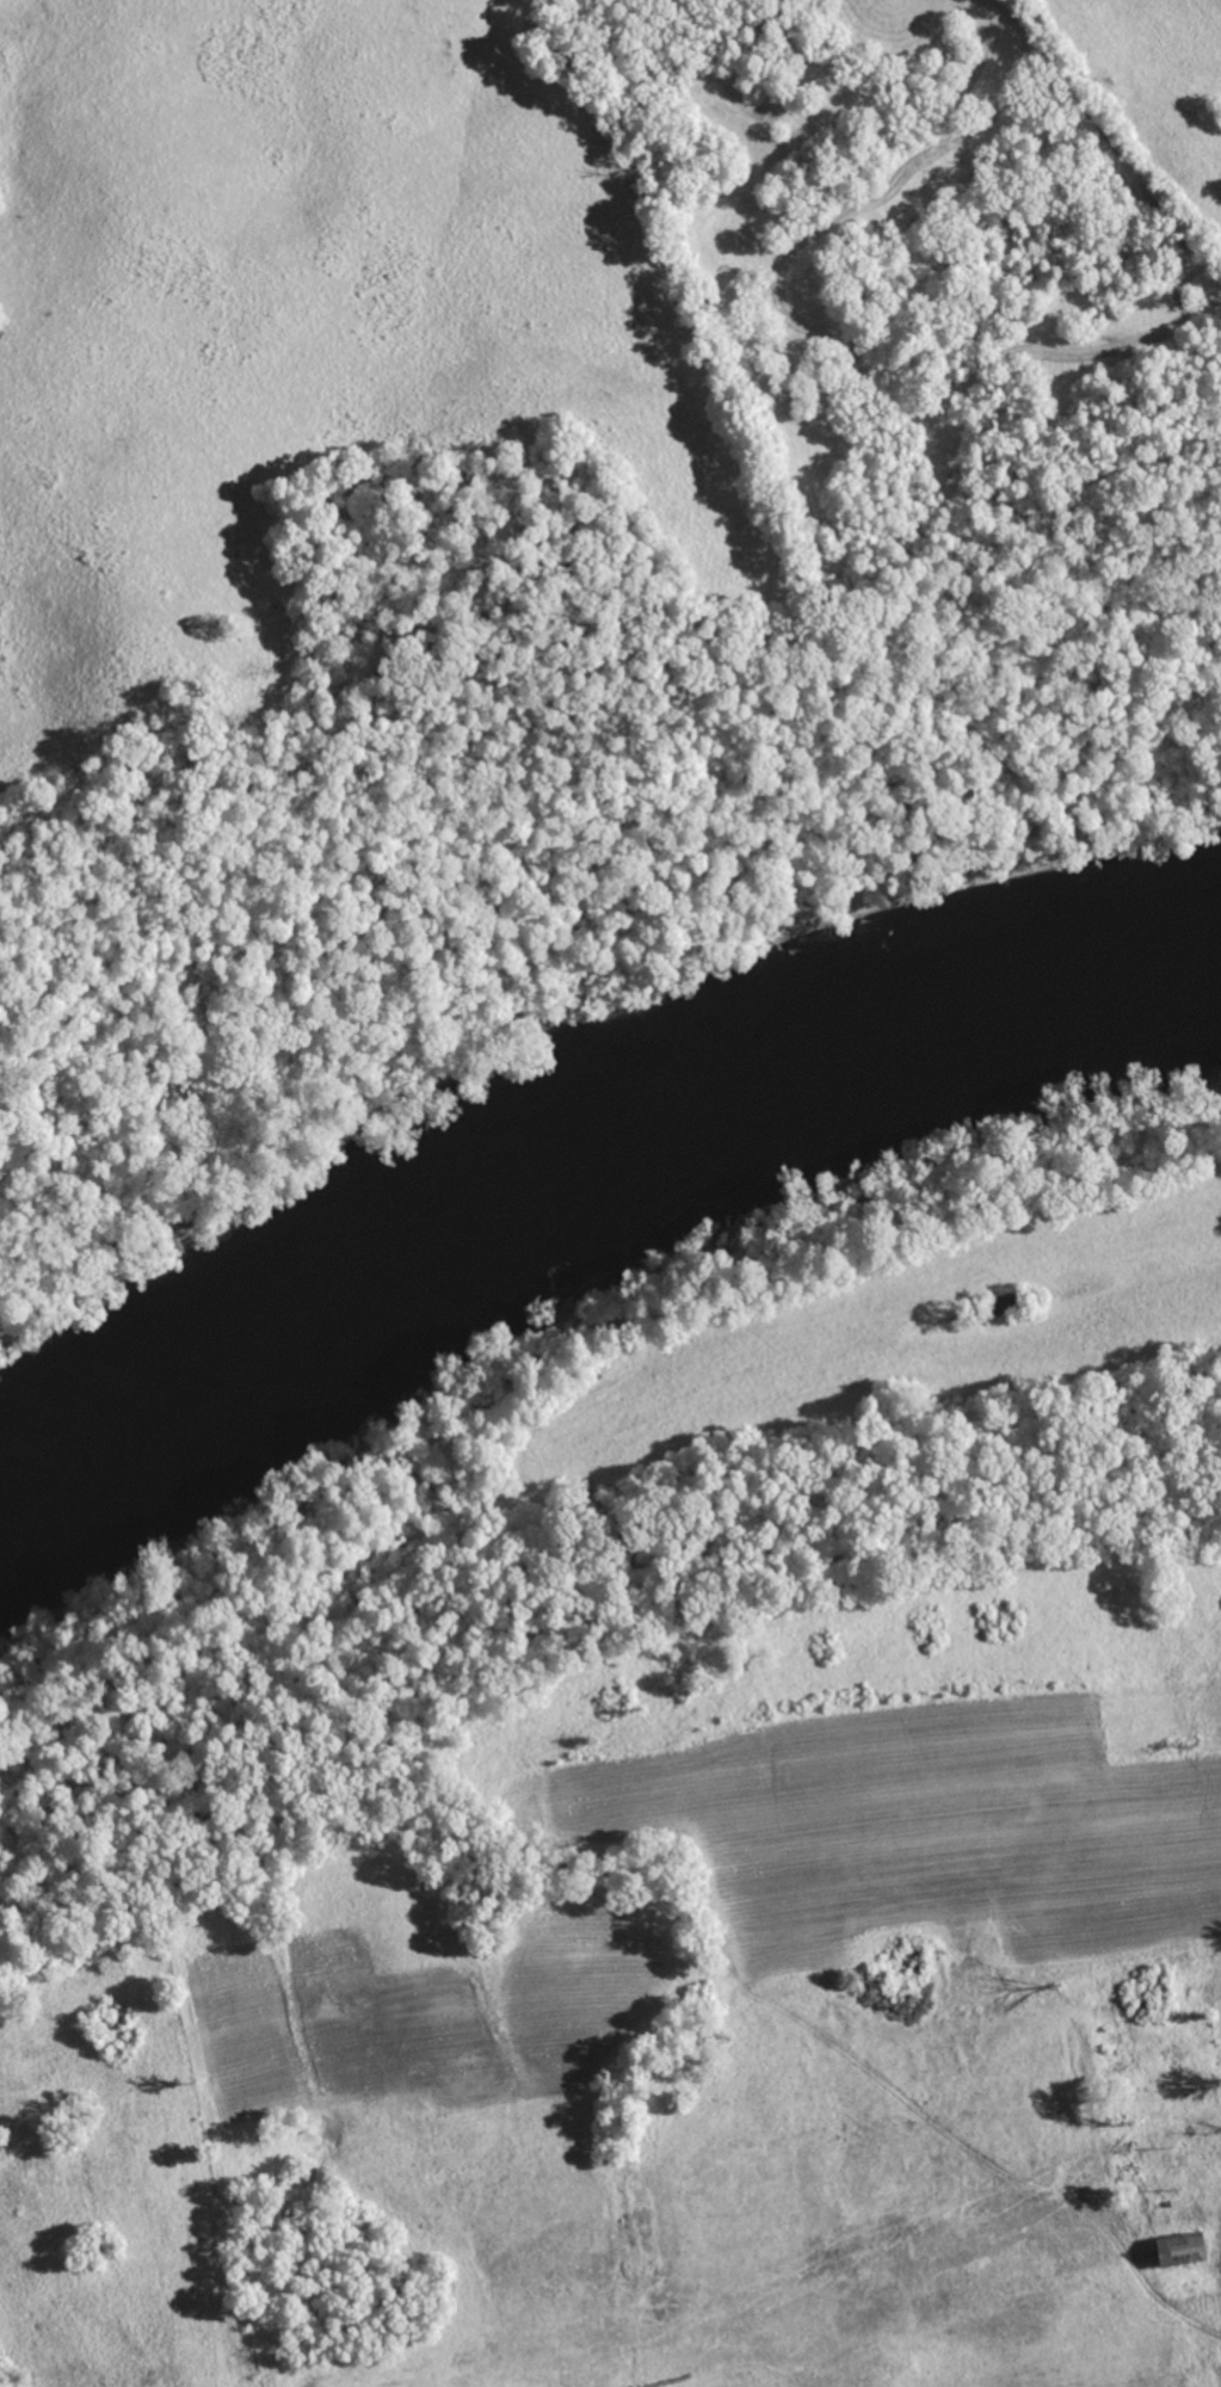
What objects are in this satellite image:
river: (582, 1160)
building: (1182, 2250)
road: (1155, 2311)

